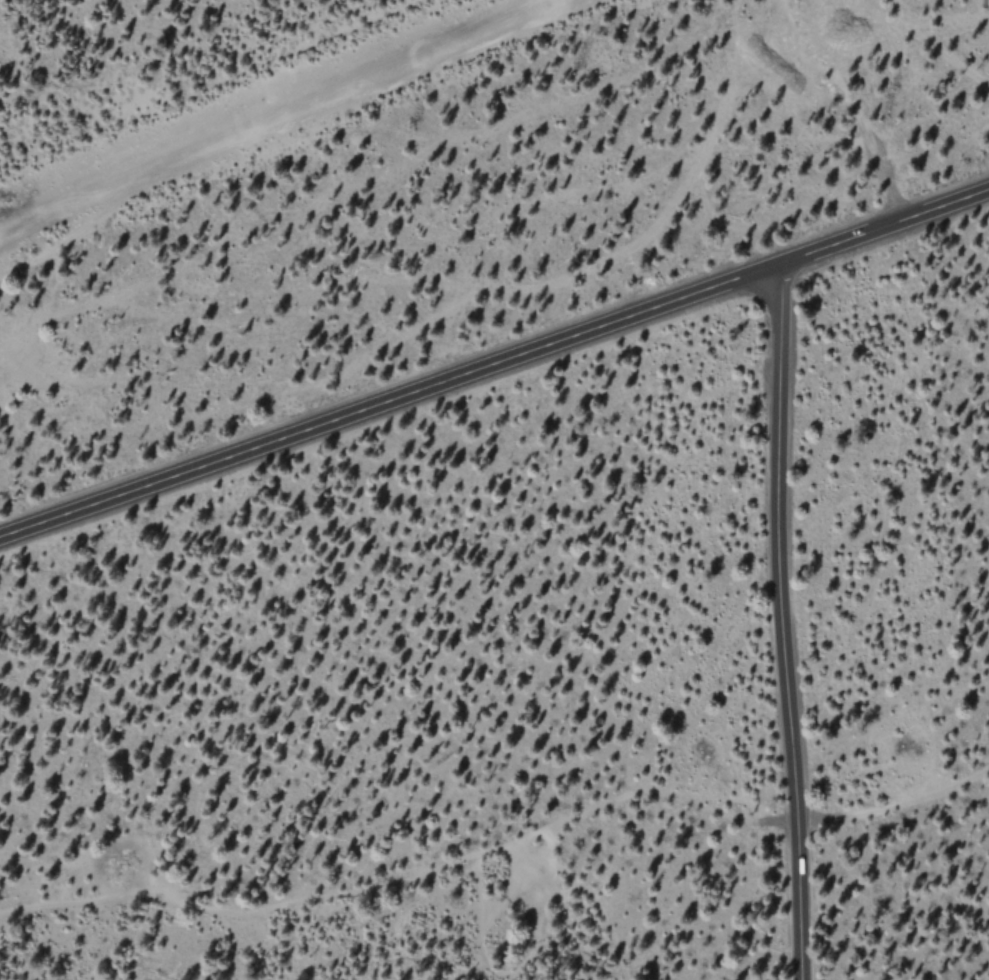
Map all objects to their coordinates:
road: (851, 107)
airport runway: (272, 112)
road: (494, 364)
road: (781, 621)
road: (911, 807)
road: (406, 883)

